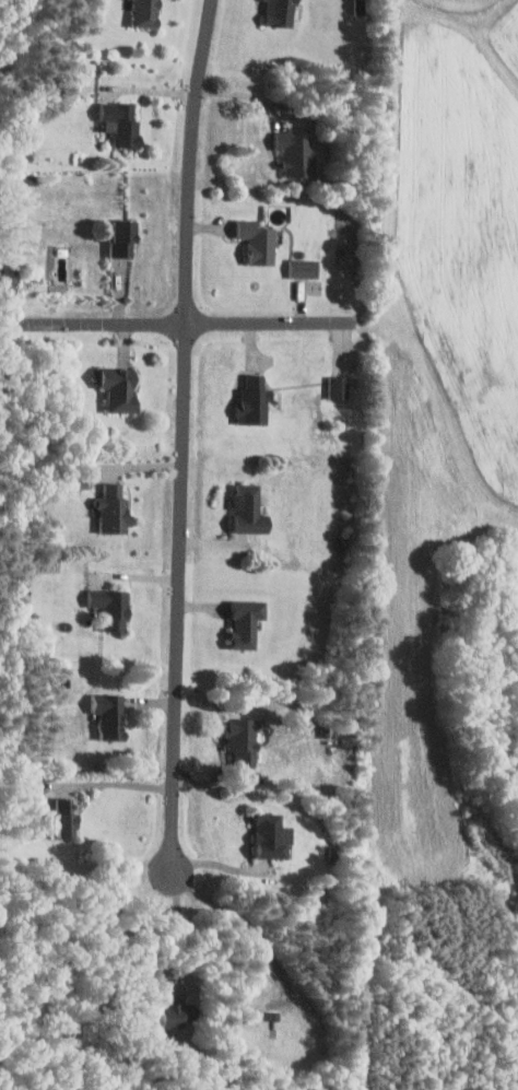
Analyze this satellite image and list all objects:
building: (148, 13)
building: (283, 13)
road: (250, 95)
building: (122, 122)
building: (296, 154)
building: (125, 238)
building: (259, 241)
building: (303, 268)
road: (189, 326)
building: (339, 387)
building: (122, 389)
building: (256, 401)
road: (183, 437)
building: (116, 511)
building: (250, 511)
building: (113, 606)
building: (248, 621)
building: (111, 713)
building: (244, 738)
road: (115, 783)
building: (68, 818)
building: (273, 835)
road: (224, 864)
road: (248, 922)
road: (183, 930)
building: (177, 1013)

